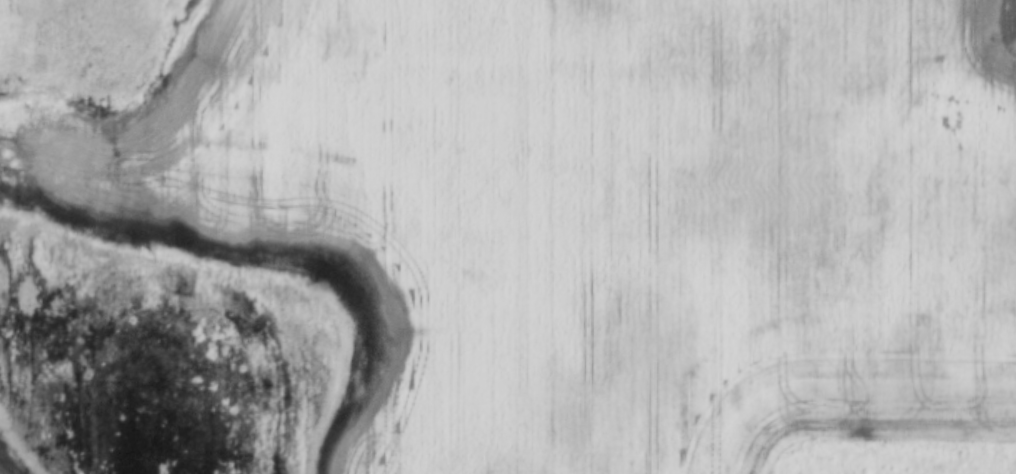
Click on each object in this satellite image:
crop: (513, 238)

